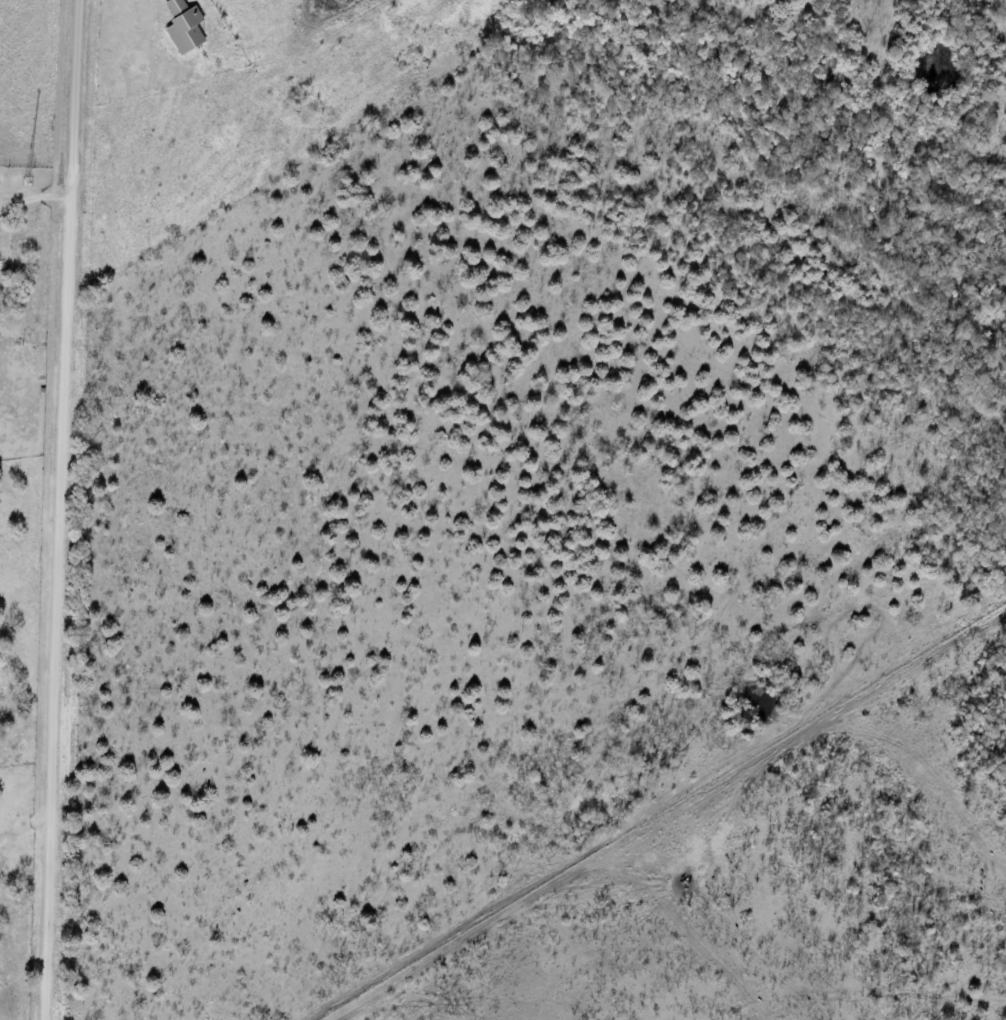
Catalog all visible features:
building: (177, 6)
building: (187, 32)
road: (67, 509)

